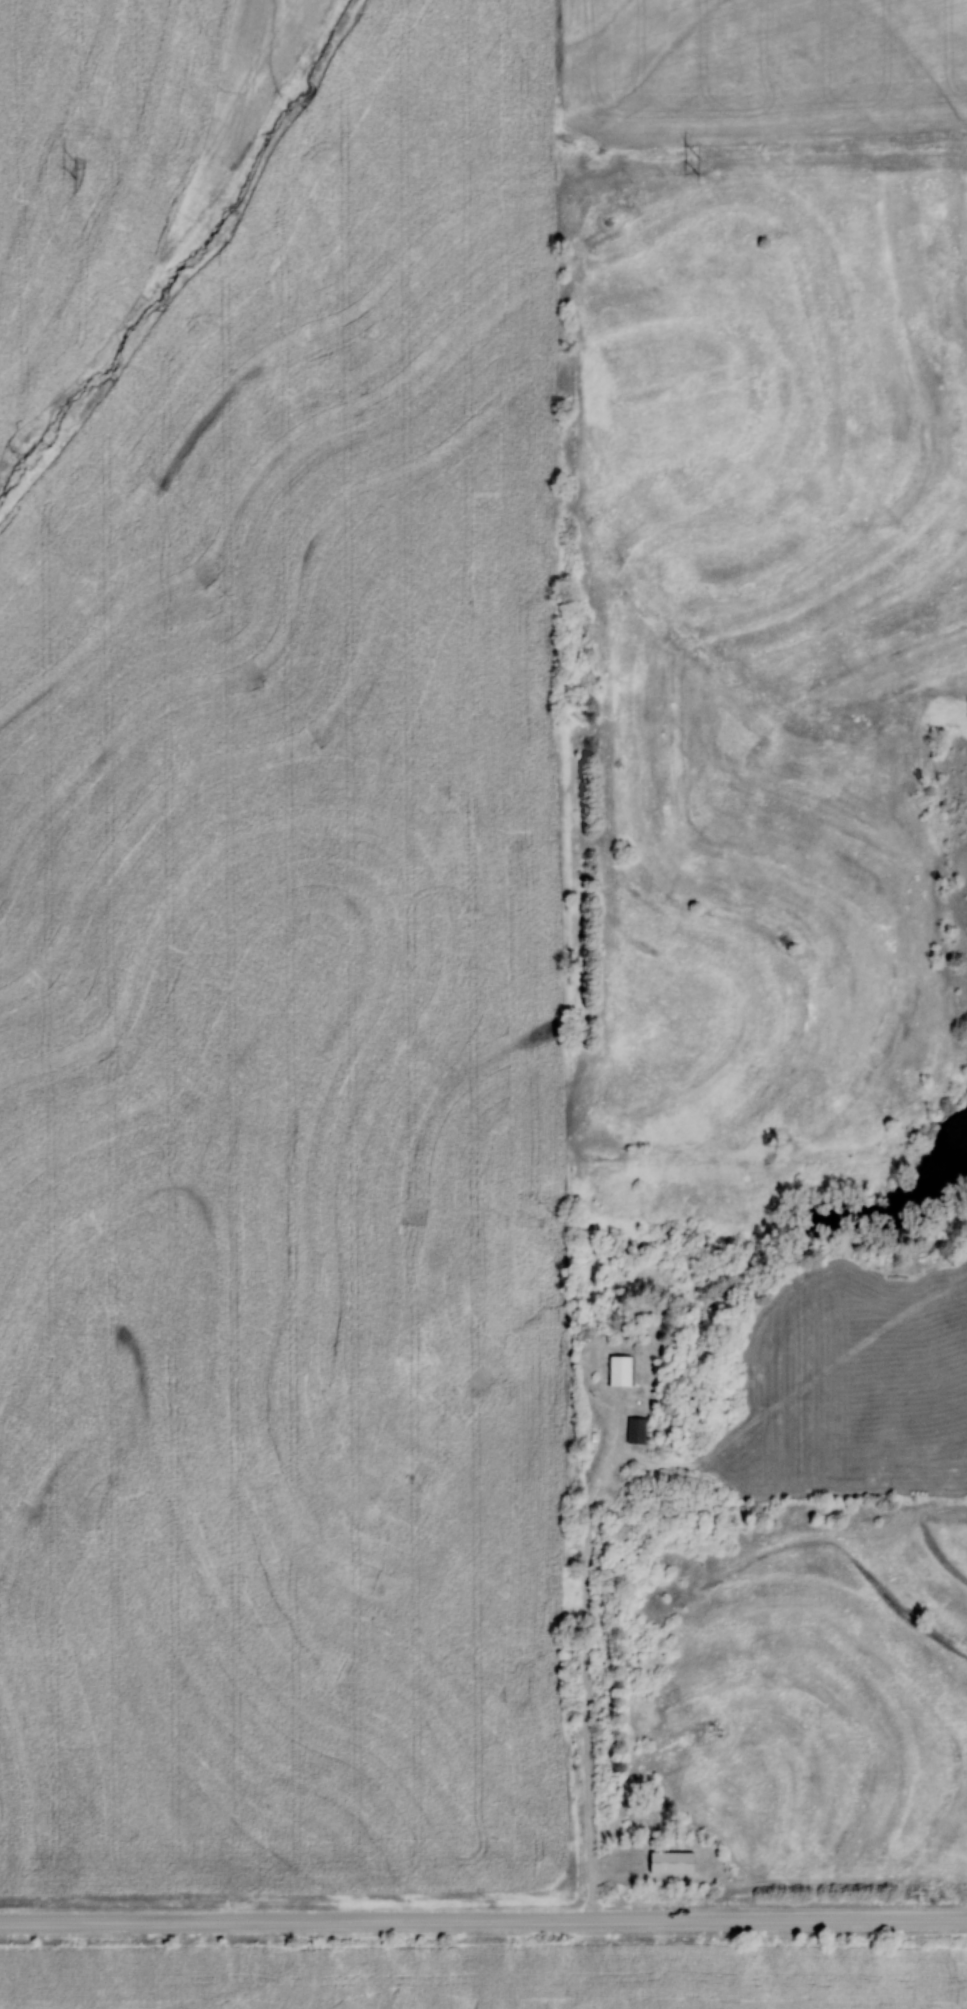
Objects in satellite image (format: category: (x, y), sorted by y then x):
power tower: (698, 166)
power tower: (78, 173)
building: (619, 1370)
building: (635, 1435)
building: (670, 1862)
road: (483, 1918)

